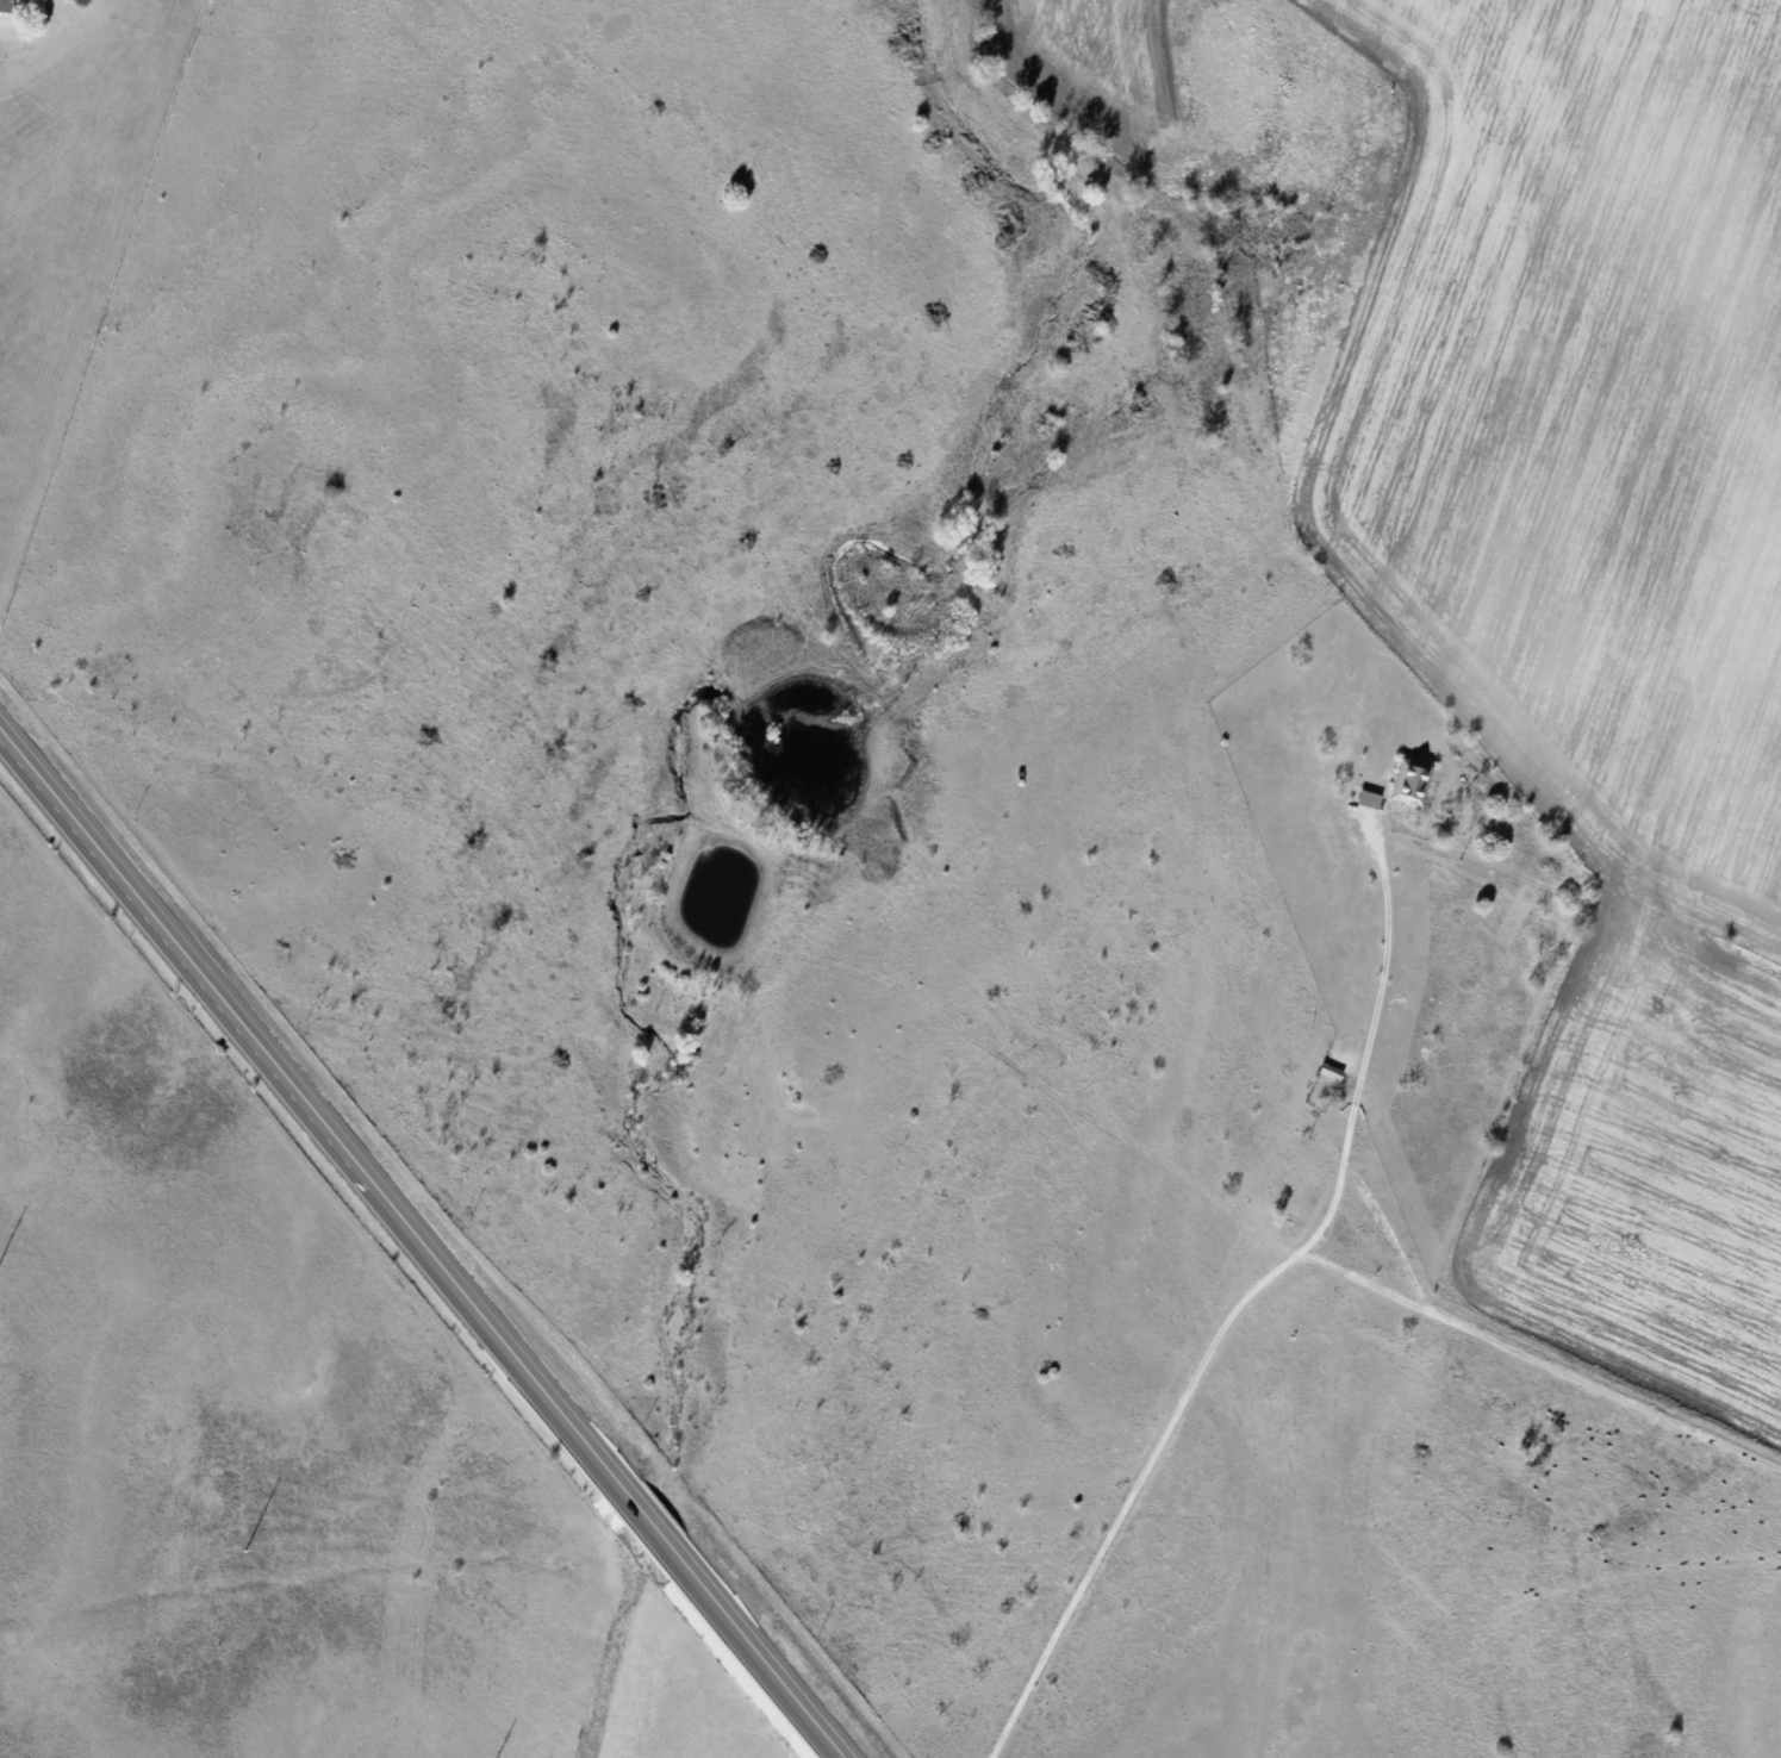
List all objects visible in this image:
building: (7, 5)
building: (1411, 781)
building: (1368, 799)
building: (1328, 1073)
building: (1293, 1197)
road: (426, 1238)
road: (1555, 1329)
power tower: (243, 1551)

